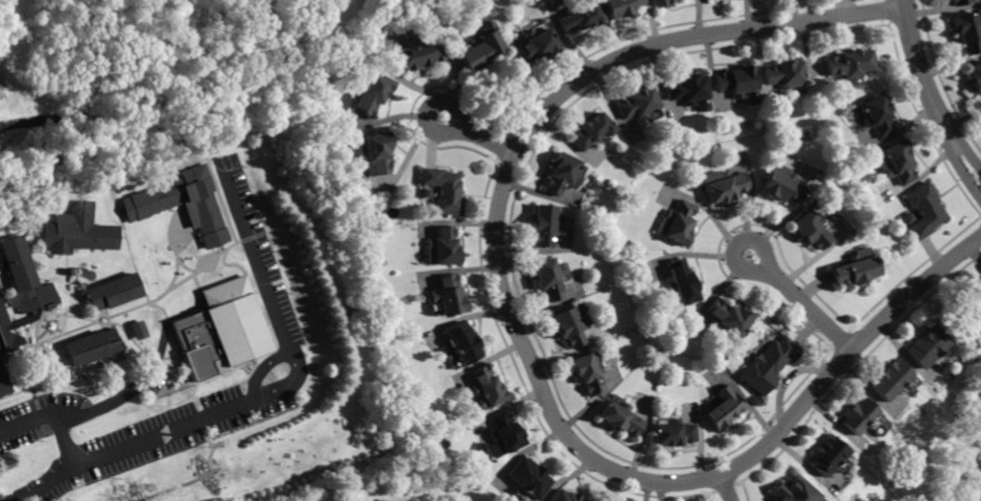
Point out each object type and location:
building: (662, 2)
building: (961, 2)
building: (620, 7)
building: (580, 18)
building: (969, 32)
building: (535, 46)
building: (480, 48)
building: (417, 55)
building: (850, 64)
building: (784, 74)
building: (976, 76)
building: (739, 84)
building: (690, 92)
building: (372, 93)
road: (931, 94)
building: (638, 103)
building: (878, 116)
building: (592, 131)
road: (480, 136)
building: (377, 154)
building: (895, 162)
building: (564, 174)
building: (723, 185)
building: (781, 185)
building: (149, 187)
building: (444, 190)
building: (427, 193)
building: (119, 199)
building: (923, 210)
building: (907, 219)
building: (676, 224)
building: (545, 225)
building: (811, 229)
building: (80, 231)
building: (443, 247)
building: (855, 268)
building: (548, 278)
building: (682, 283)
building: (21, 292)
building: (115, 292)
building: (449, 295)
building: (974, 300)
road: (803, 301)
building: (728, 318)
building: (570, 325)
building: (140, 330)
building: (221, 330)
road: (522, 338)
building: (463, 343)
building: (924, 346)
building: (92, 347)
building: (768, 365)
building: (588, 373)
building: (889, 380)
building: (4, 383)
building: (487, 388)
road: (244, 401)
road: (107, 402)
building: (724, 408)
building: (857, 416)
building: (621, 418)
building: (505, 433)
building: (674, 433)
building: (483, 448)
building: (825, 455)
building: (529, 478)
road: (726, 487)
building: (793, 491)
building: (565, 496)
building: (980, 500)

